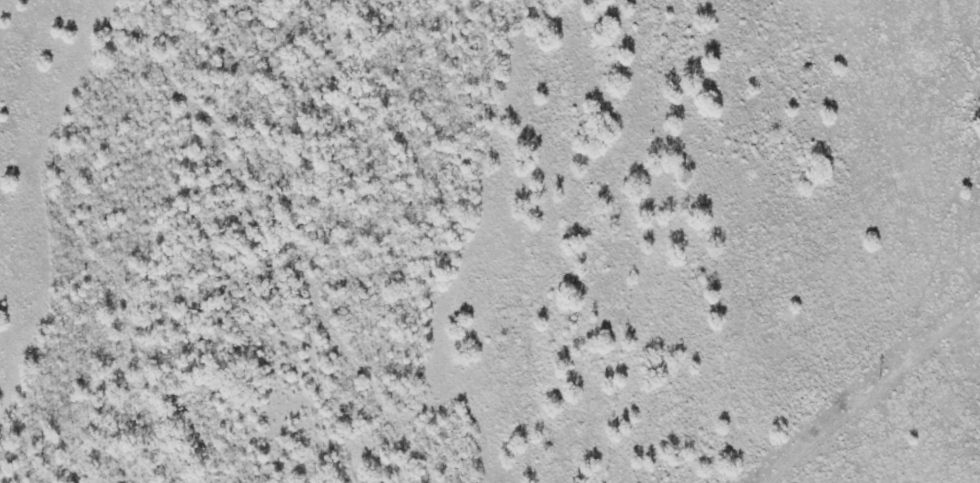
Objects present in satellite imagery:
road: (881, 395)

